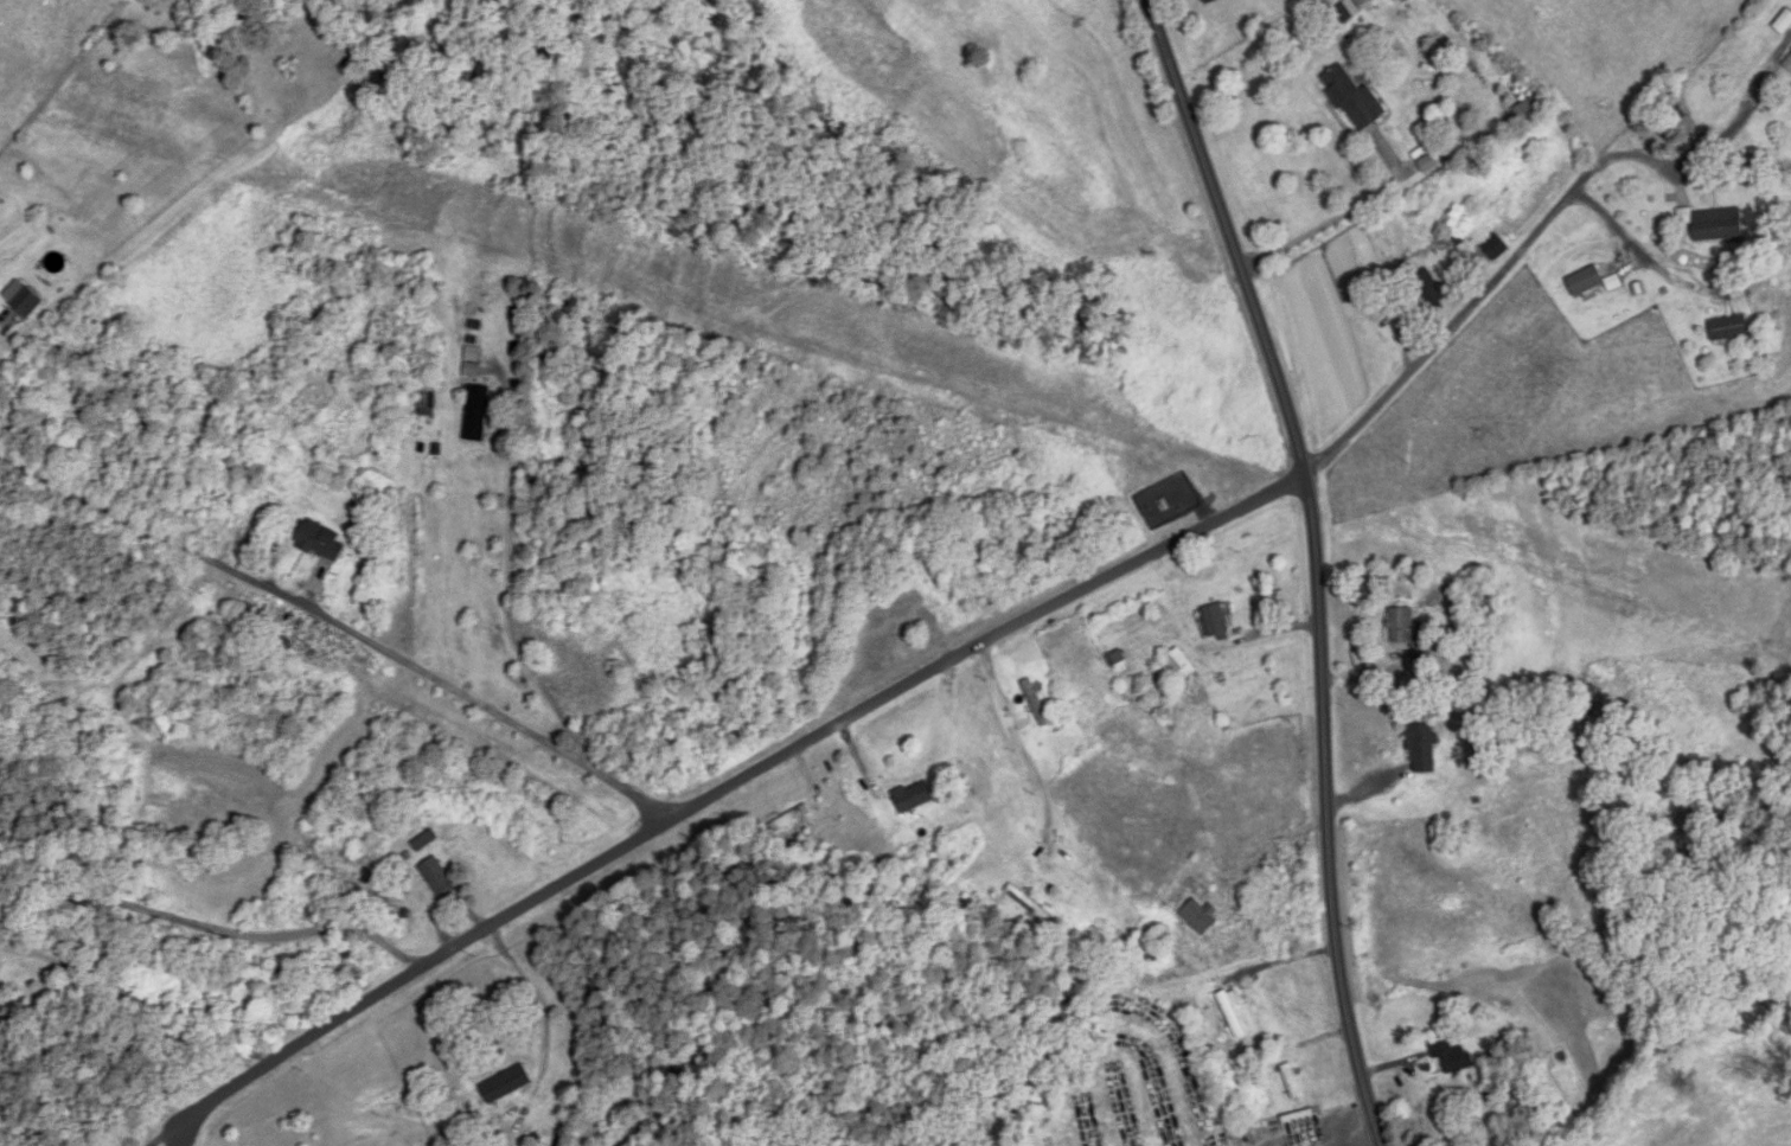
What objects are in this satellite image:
building: (1363, 2)
building: (1784, 24)
building: (1789, 64)
building: (1354, 100)
road: (1344, 216)
building: (1714, 225)
road: (1536, 233)
building: (1495, 248)
building: (1585, 282)
building: (1428, 294)
building: (27, 303)
building: (1728, 329)
building: (476, 415)
building: (322, 543)
road: (1318, 562)
building: (902, 594)
road: (508, 609)
building: (1216, 625)
building: (1409, 634)
road: (339, 641)
building: (206, 655)
building: (1182, 667)
building: (1588, 693)
building: (1036, 704)
building: (1422, 748)
road: (727, 793)
building: (914, 798)
building: (791, 820)
road: (1477, 832)
building: (426, 841)
road: (1275, 846)
building: (439, 878)
building: (1201, 918)
building: (279, 977)
road: (143, 1004)
building: (1233, 1016)
building: (1454, 1058)
building: (499, 1083)
building: (1293, 1083)
road: (1345, 1125)

